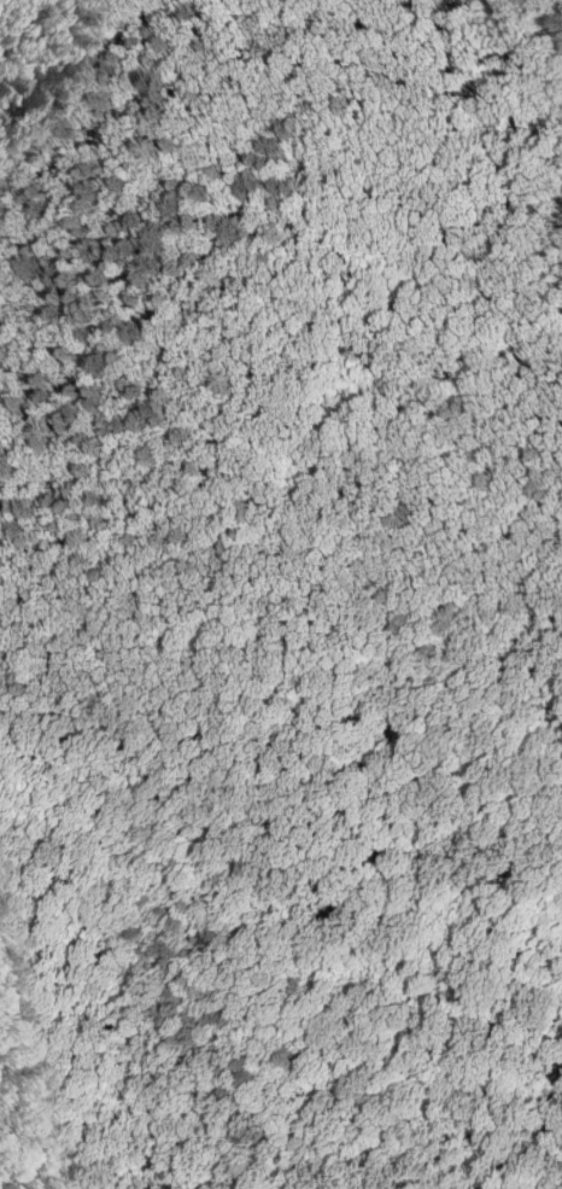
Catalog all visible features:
park: (281, 594)

